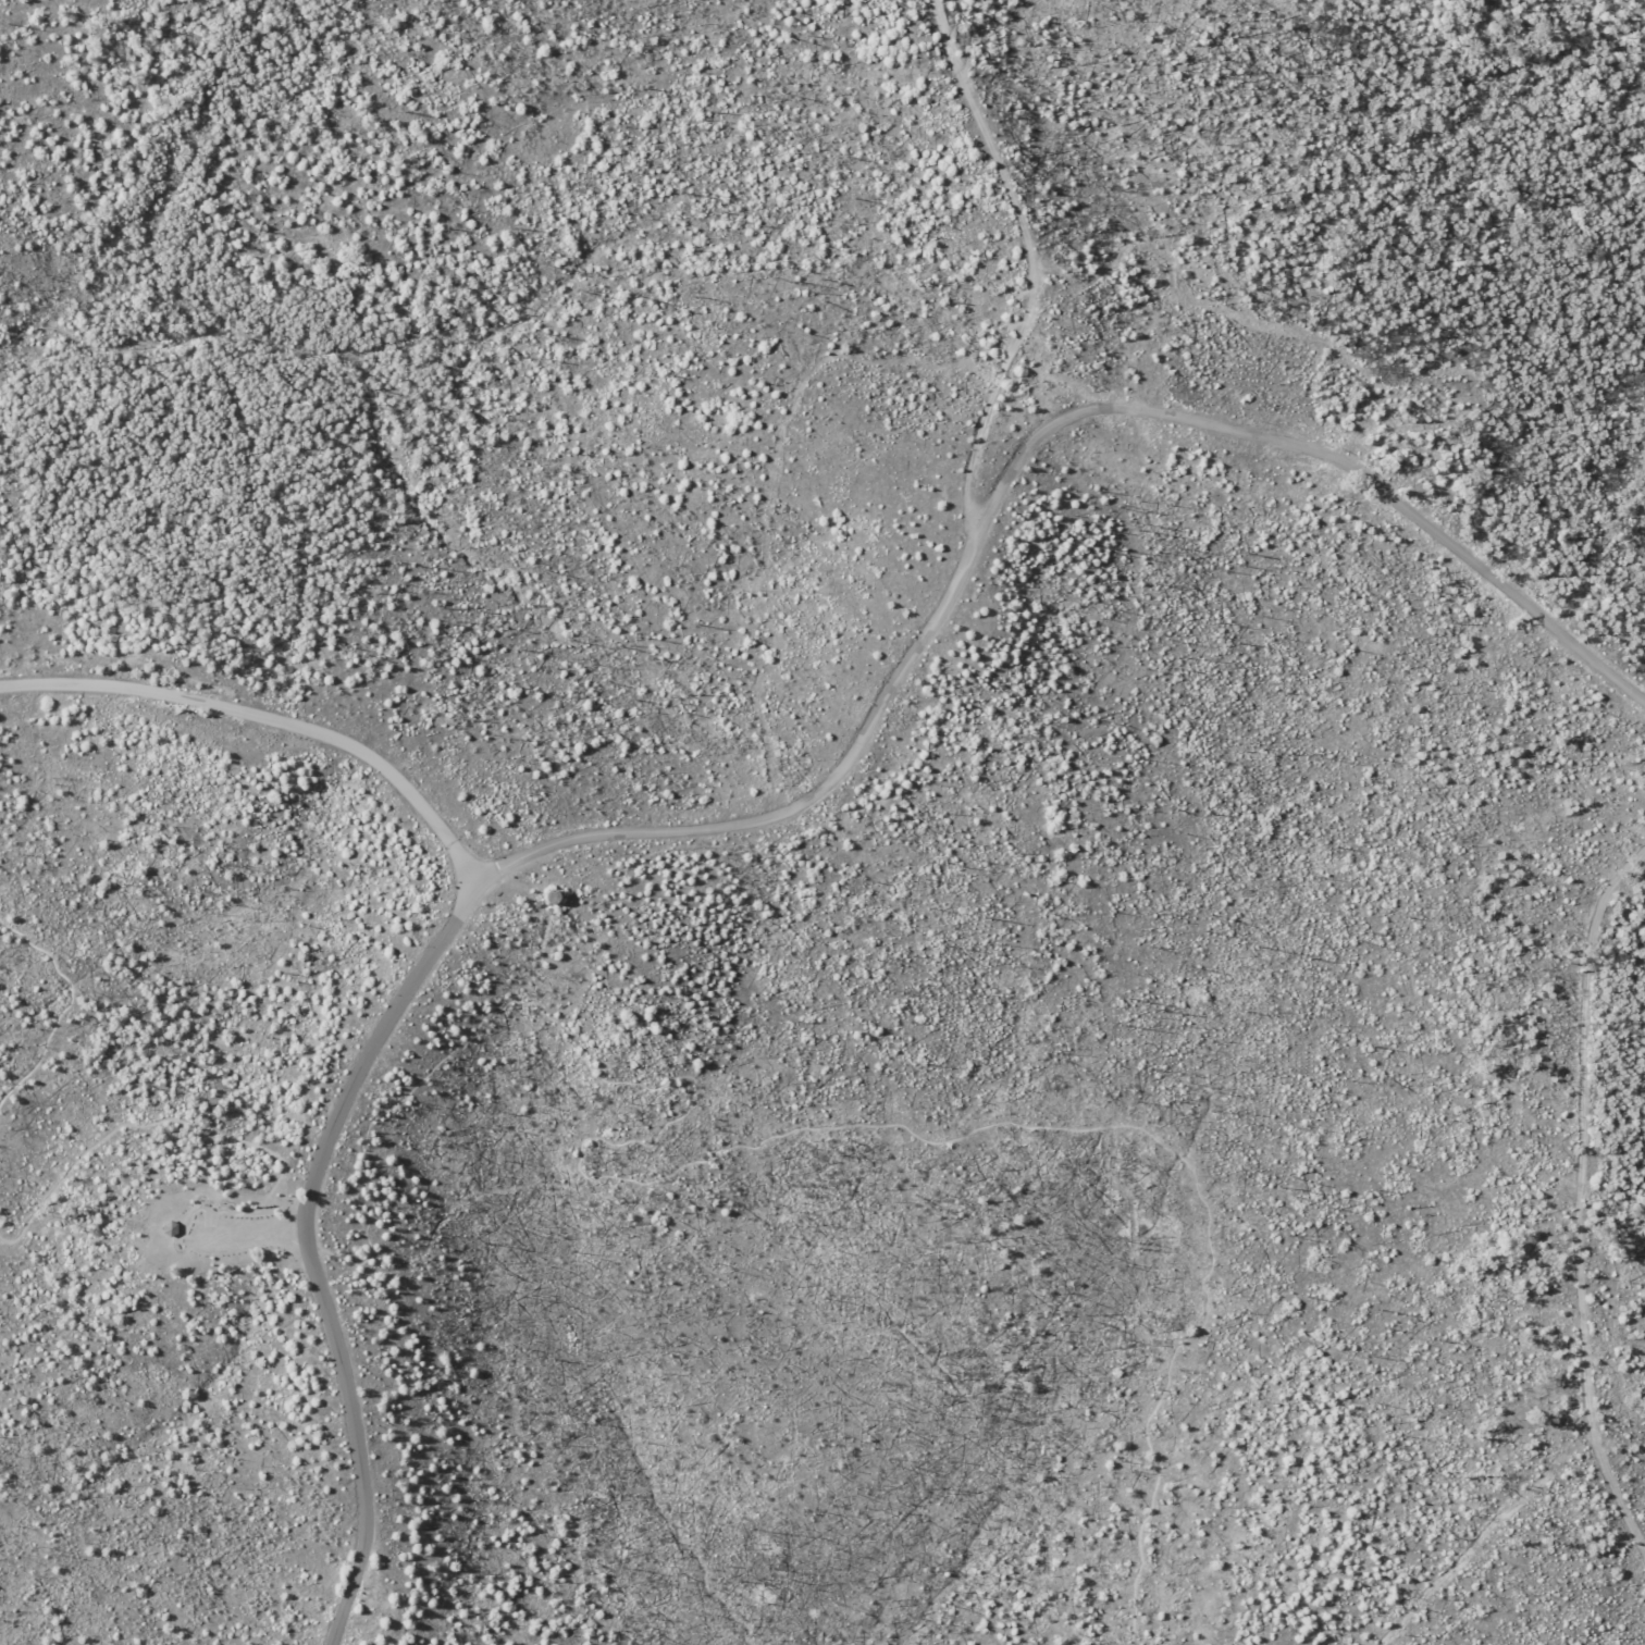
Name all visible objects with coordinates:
road: (1014, 461)
road: (270, 719)
park: (822, 822)
road: (66, 1002)
road: (186, 1118)
road: (753, 1139)
road: (1575, 1195)
road: (252, 1230)
road: (307, 1245)
parking lot: (227, 1246)

